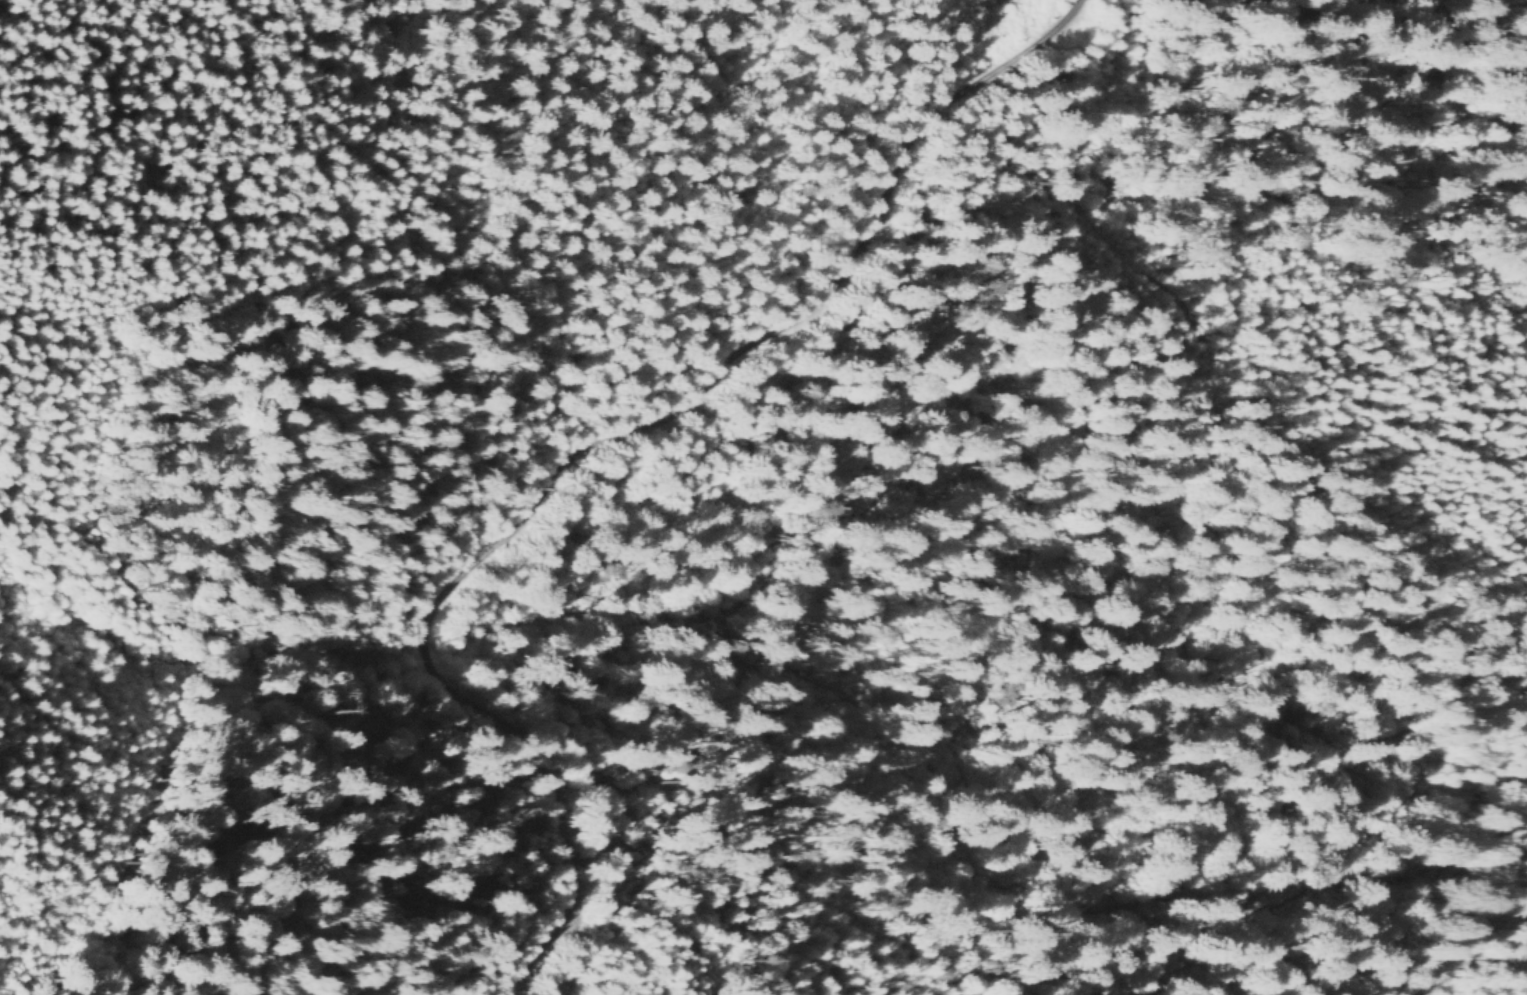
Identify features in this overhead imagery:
road: (595, 445)

